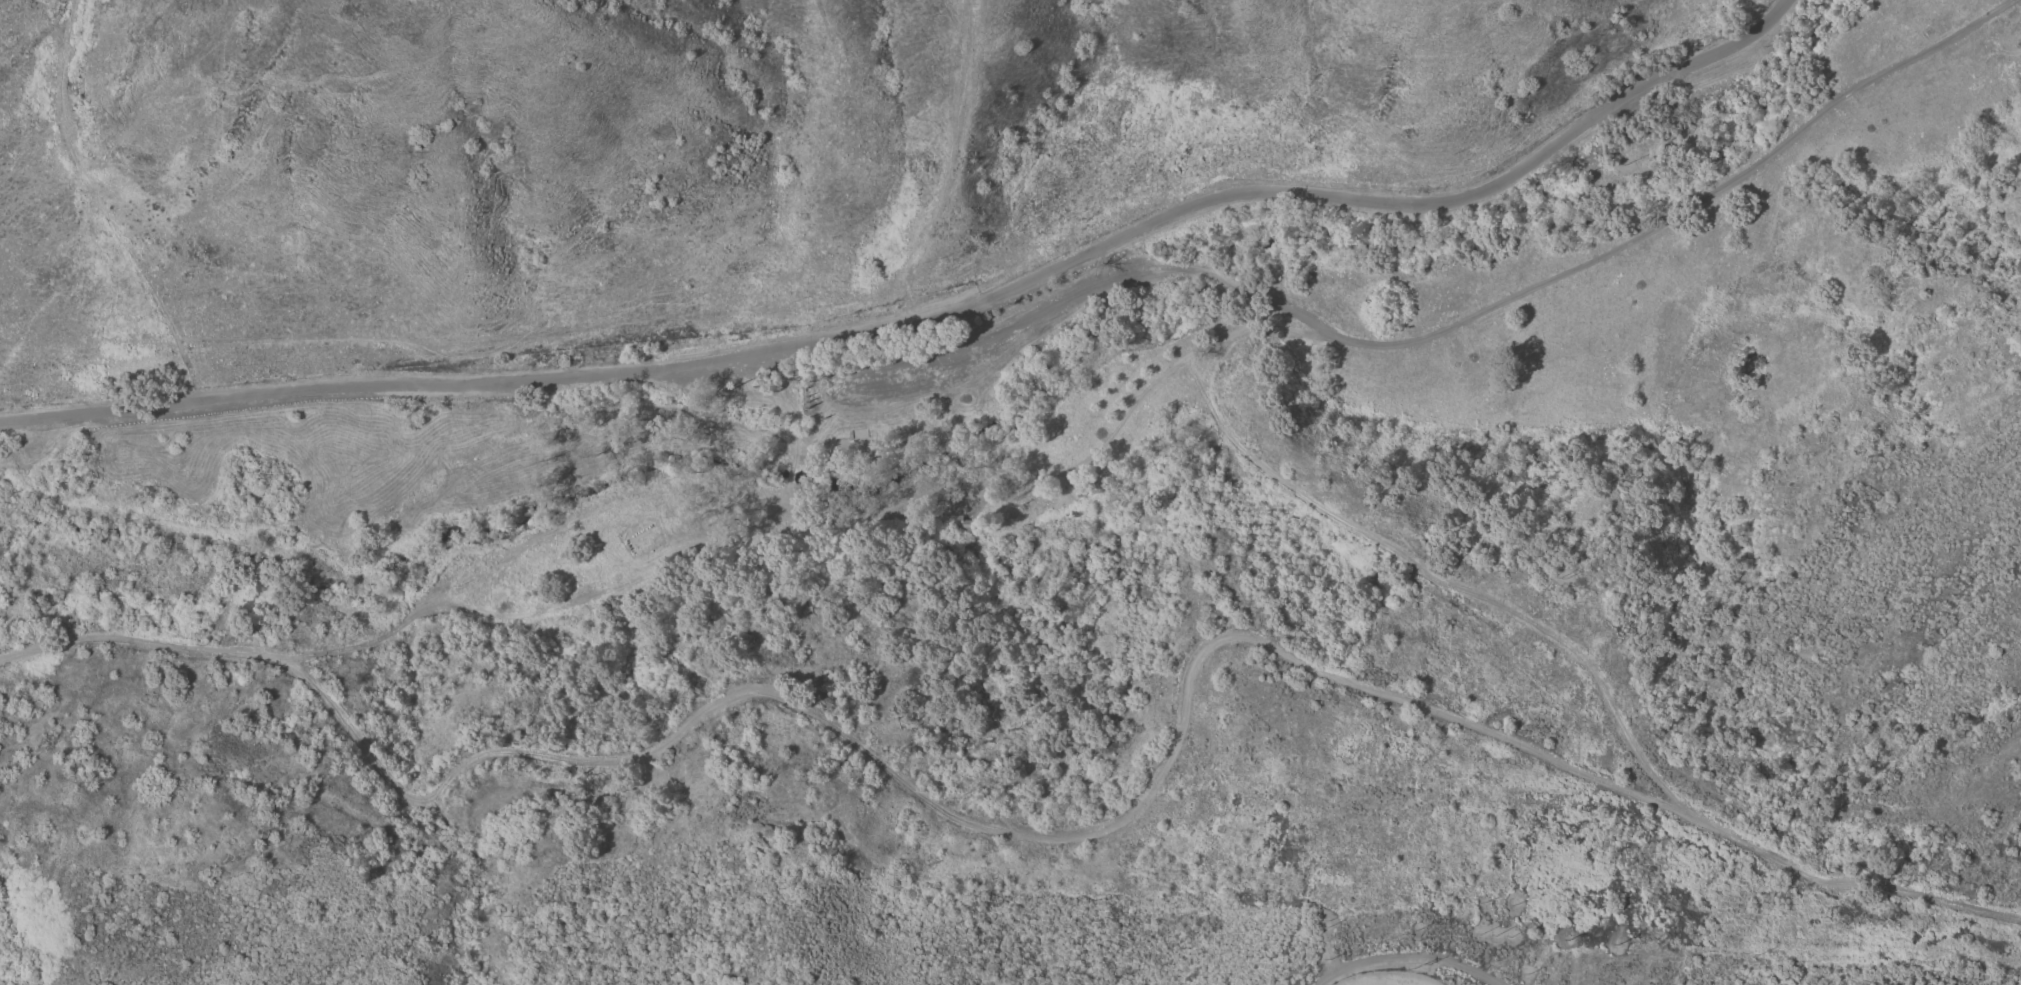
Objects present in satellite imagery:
road: (945, 184)
road: (935, 321)
road: (1411, 342)
road: (1398, 961)

